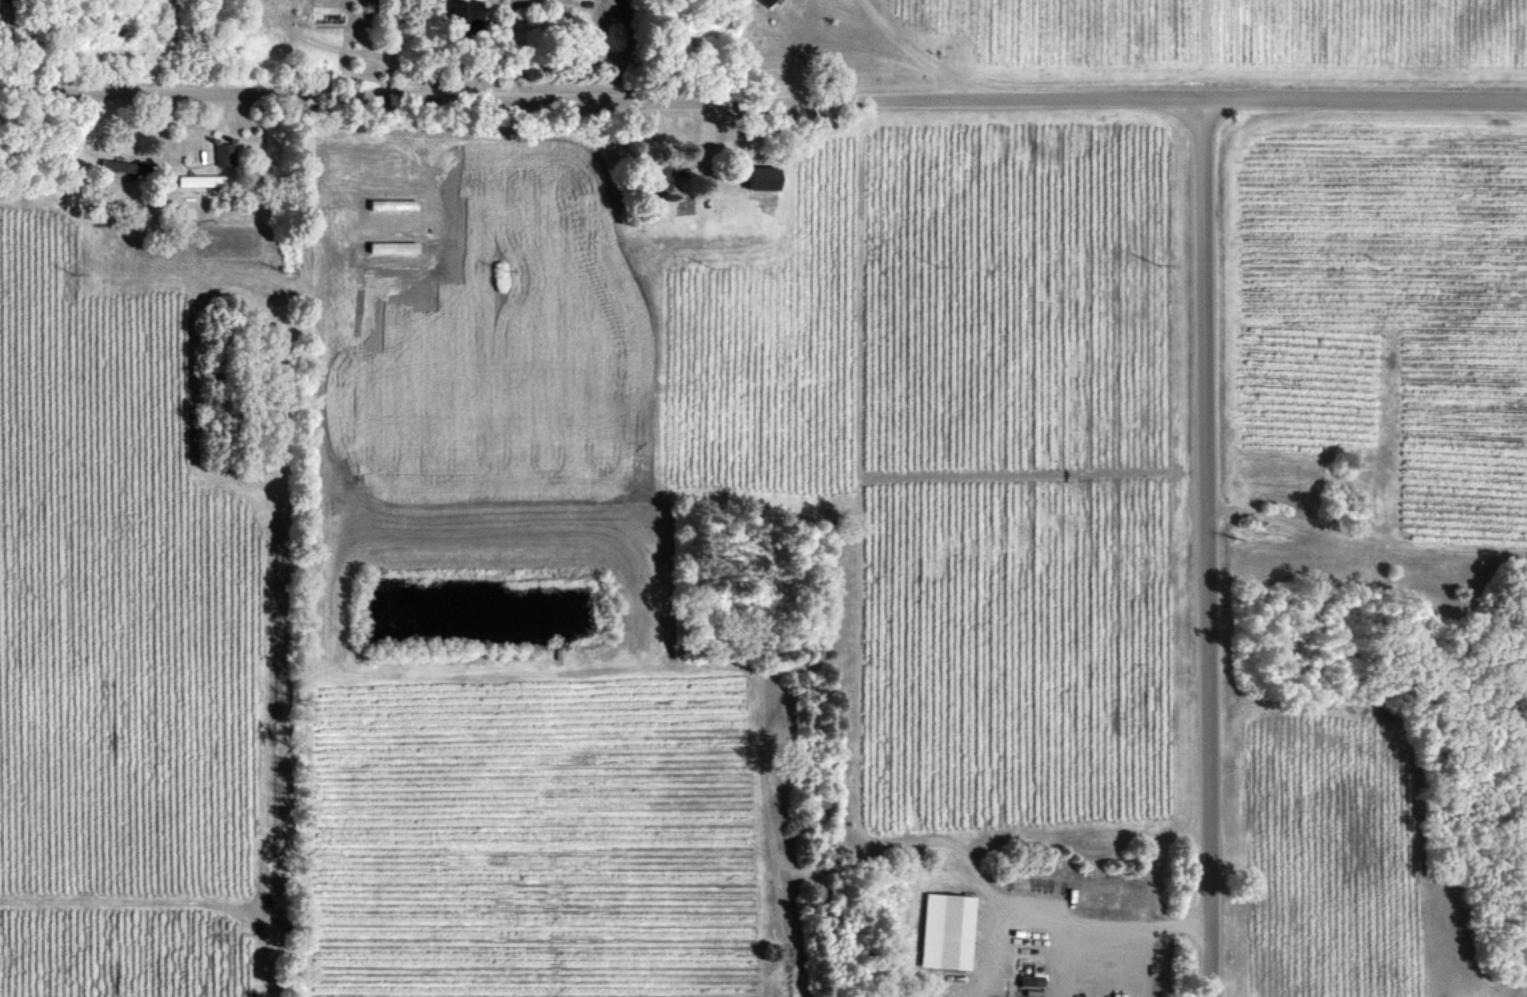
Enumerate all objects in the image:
building: (766, 2)
building: (468, 16)
road: (927, 55)
road: (763, 99)
building: (225, 154)
building: (117, 165)
building: (664, 173)
building: (764, 178)
building: (200, 180)
road: (1208, 547)
building: (947, 930)
road: (1126, 942)

